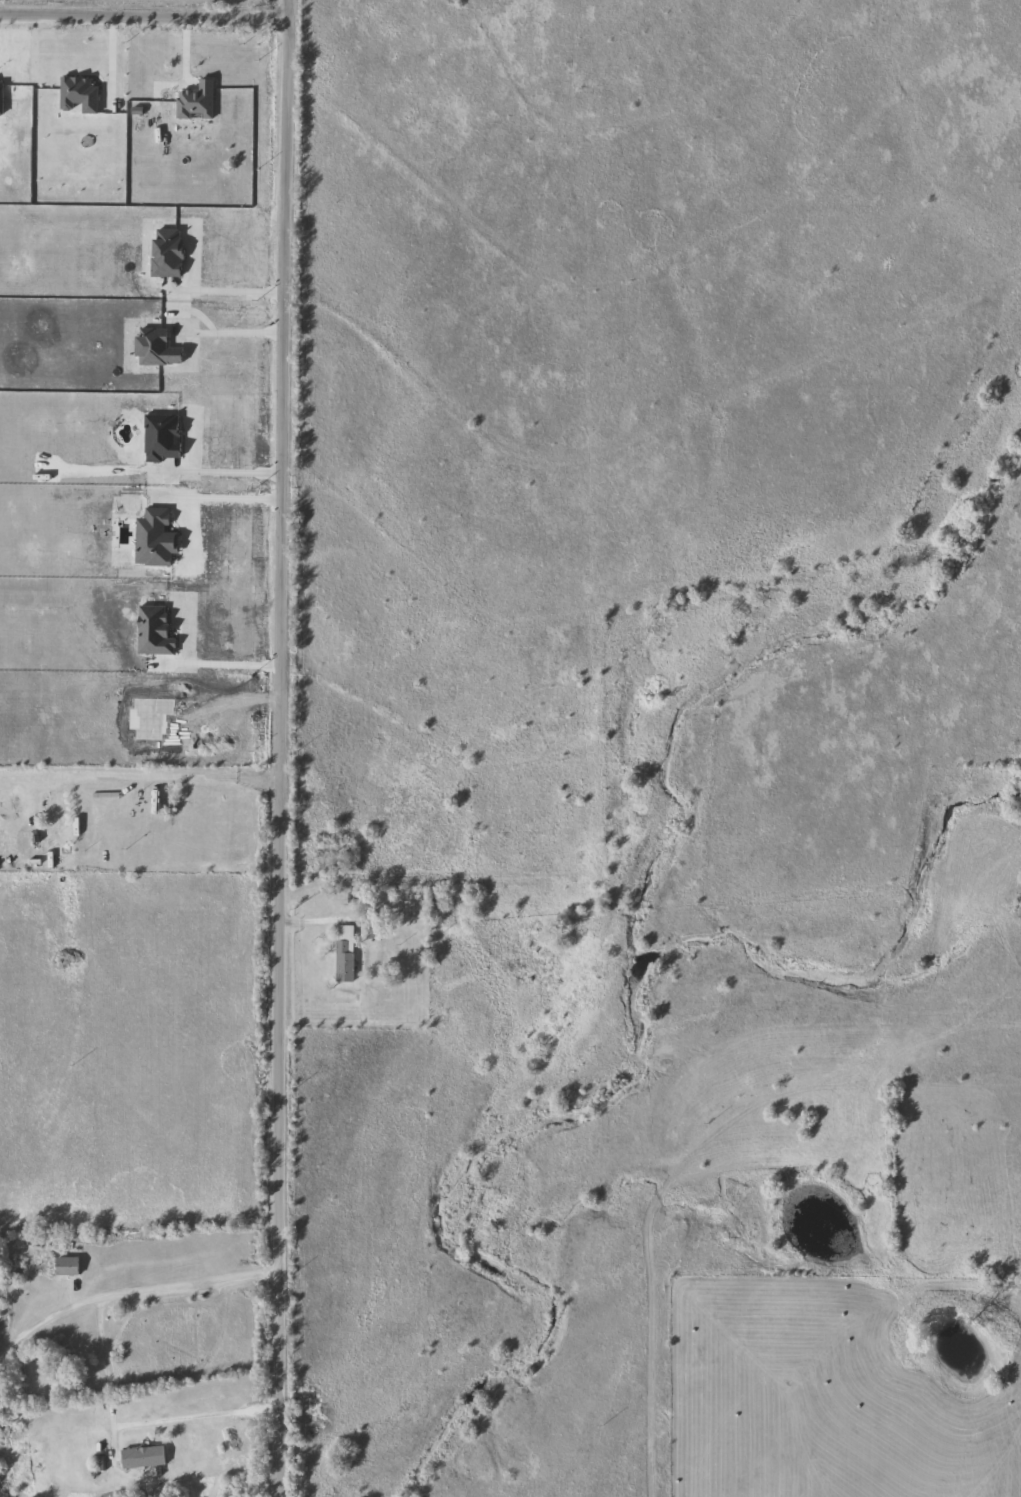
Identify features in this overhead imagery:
road: (292, 19)
road: (109, 62)
road: (185, 305)
road: (224, 473)
road: (219, 497)
road: (284, 617)
building: (151, 629)
road: (220, 664)
building: (146, 716)
road: (141, 773)
building: (36, 831)
building: (24, 859)
building: (548, 936)
building: (346, 951)
building: (69, 1264)
road: (131, 1290)
road: (131, 1424)
building: (144, 1455)

